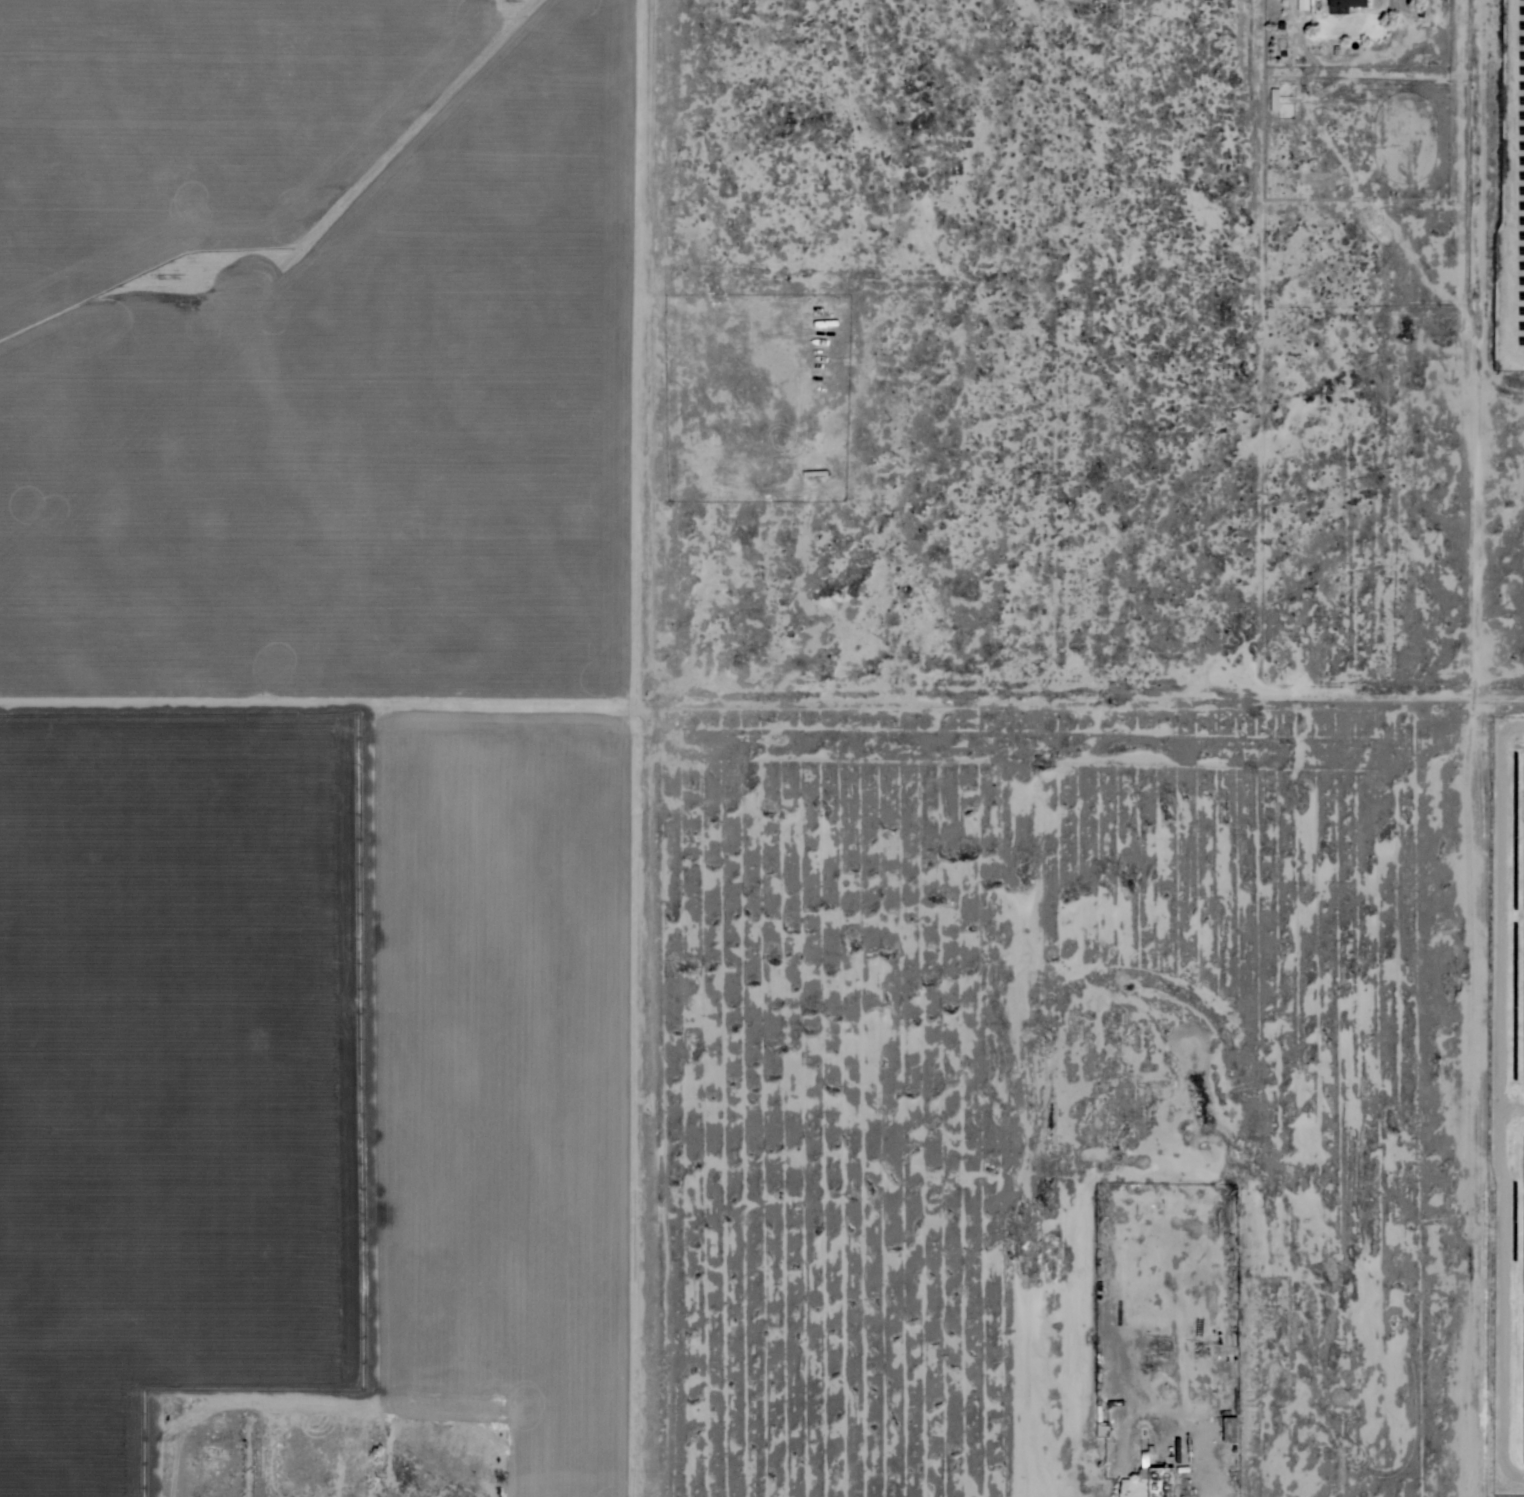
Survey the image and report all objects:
building: (1346, 3)
building: (1302, 4)
solar farm: (1511, 180)
road: (1477, 346)
road: (641, 355)
road: (1061, 698)
road: (322, 707)
solar farm: (1503, 1102)
road: (644, 1104)
building: (1100, 1425)
building: (1229, 1429)
building: (1176, 1449)
building: (1147, 1479)

